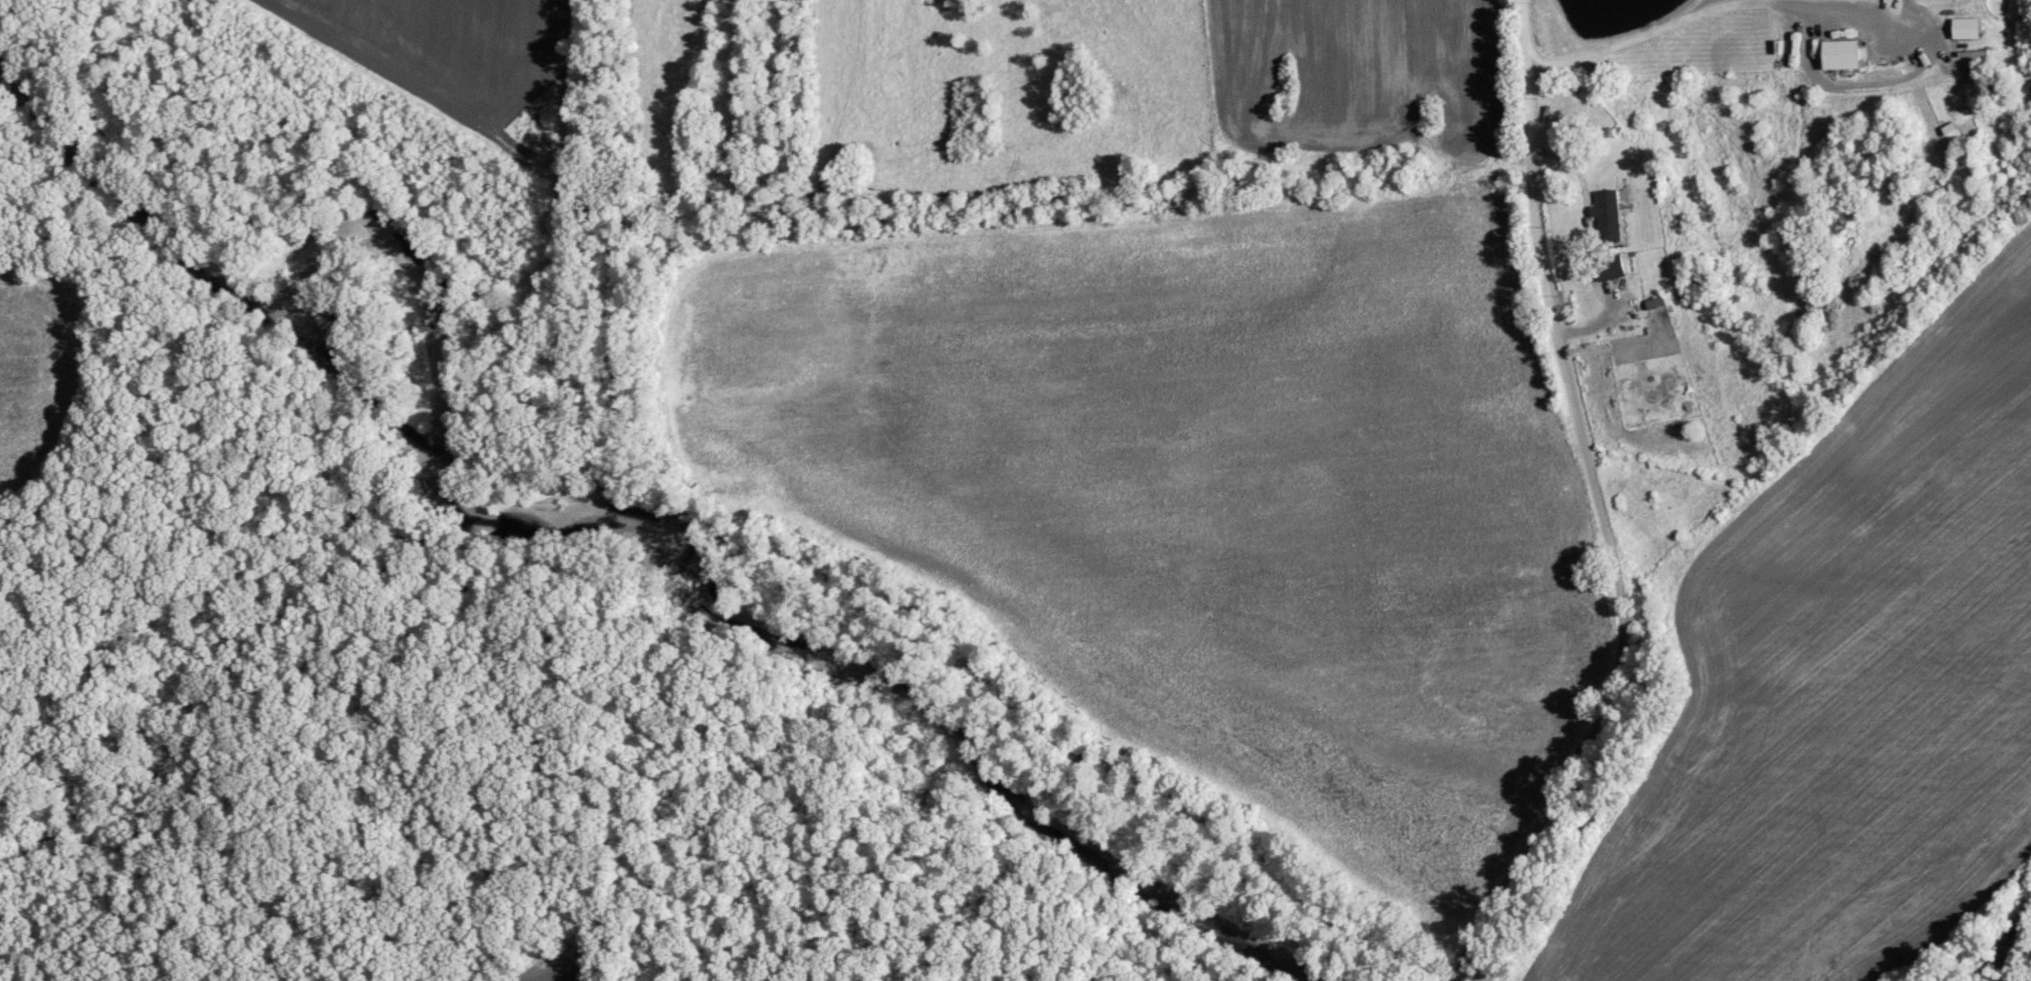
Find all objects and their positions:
building: (1970, 27)
road: (1665, 29)
building: (1846, 53)
road: (1858, 87)
building: (1613, 217)
building: (1614, 266)
road: (1615, 317)
river: (565, 507)
road: (1601, 509)
river: (2017, 947)

